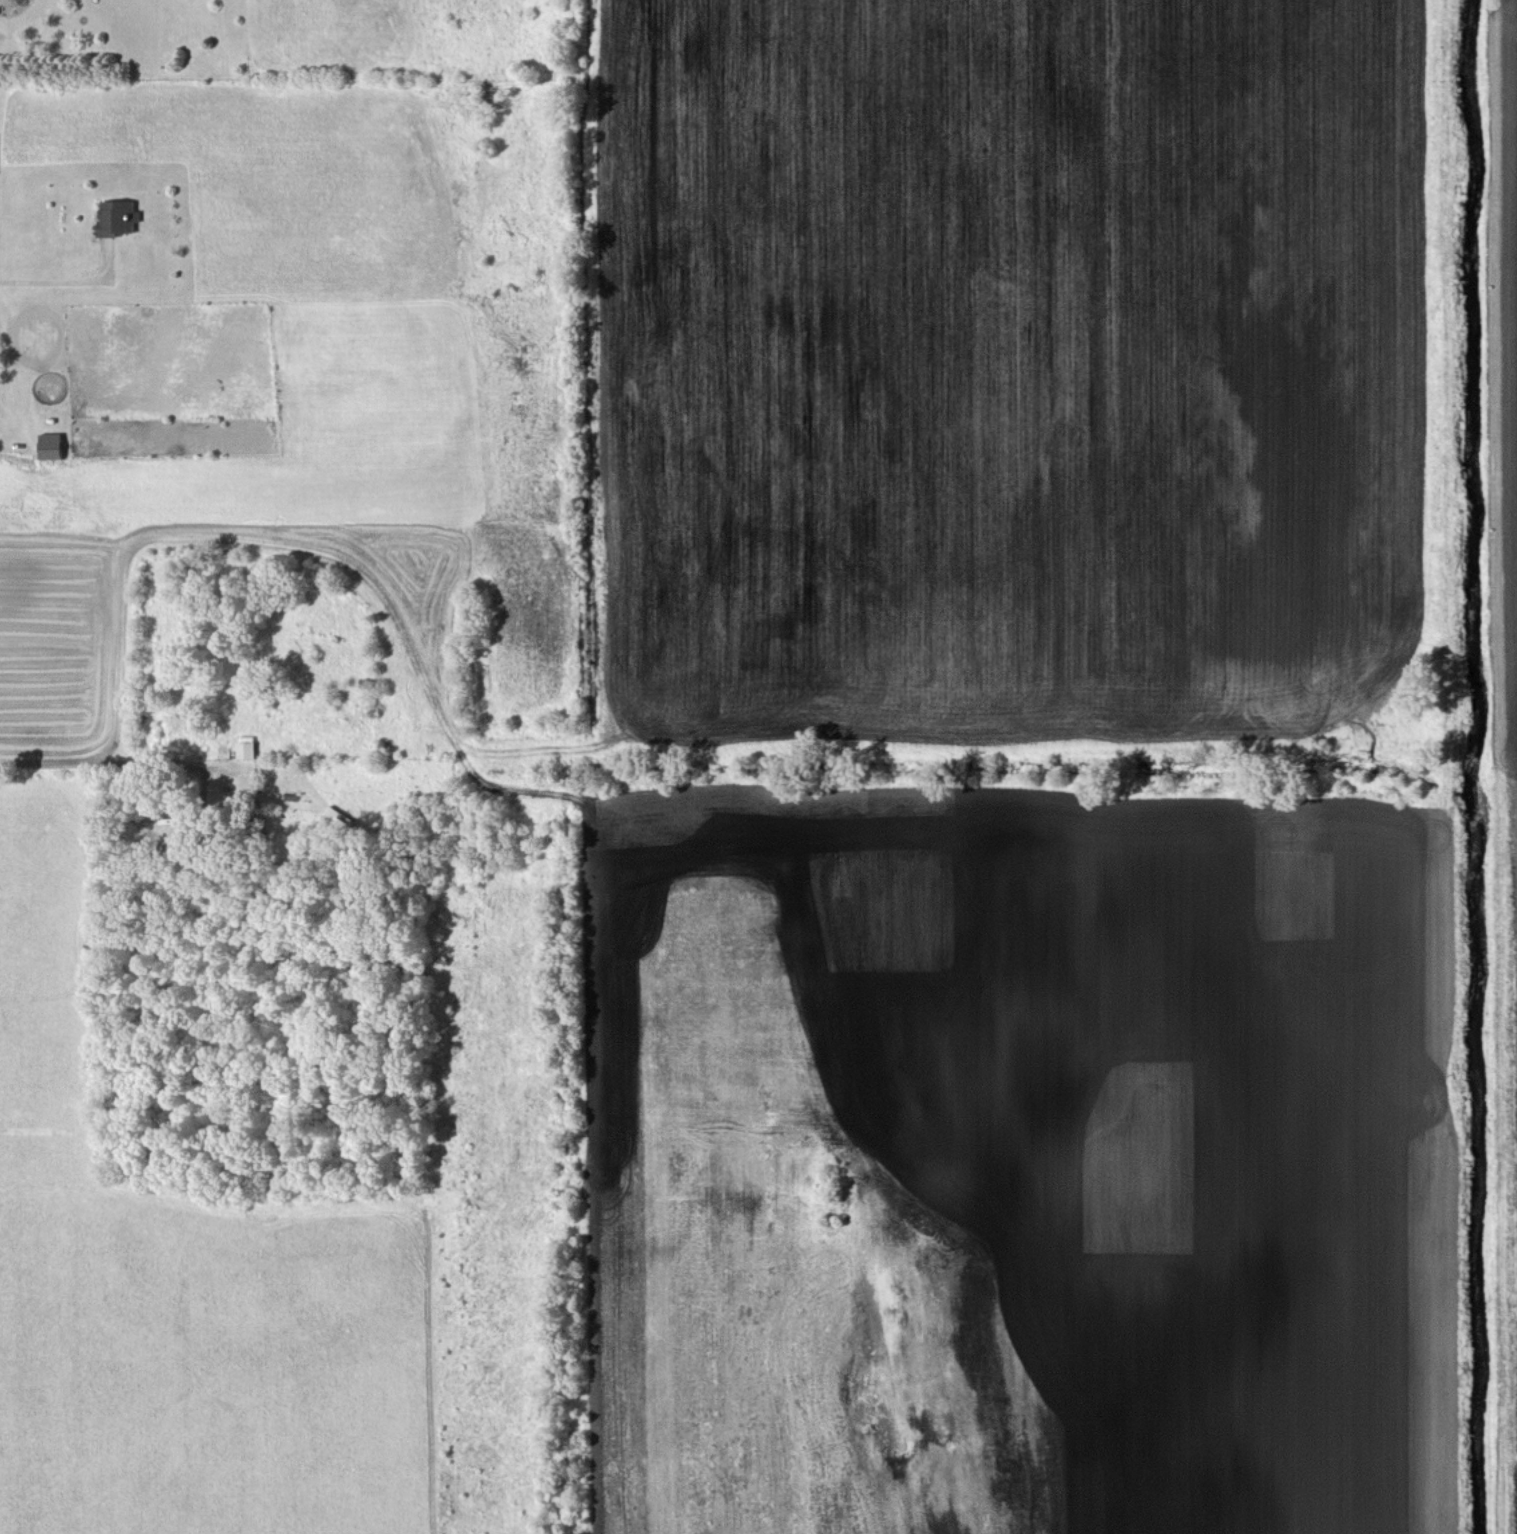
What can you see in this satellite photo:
building: (116, 216)
road: (46, 280)
building: (50, 445)
building: (247, 747)
road: (53, 766)

